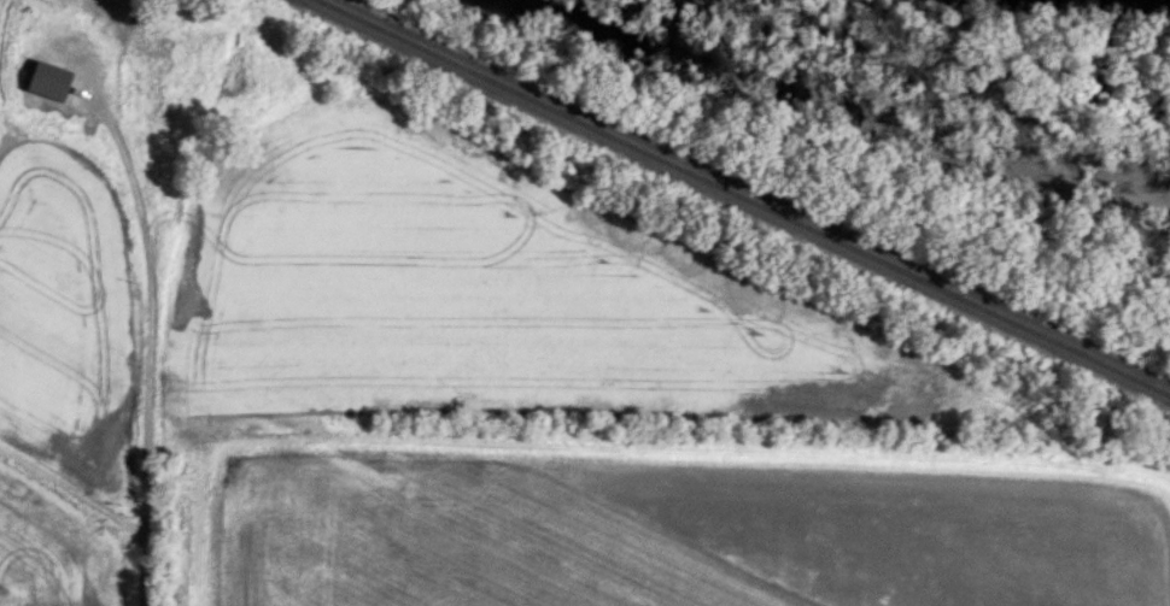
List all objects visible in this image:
railway: (742, 198)
road: (147, 339)
road: (71, 489)

